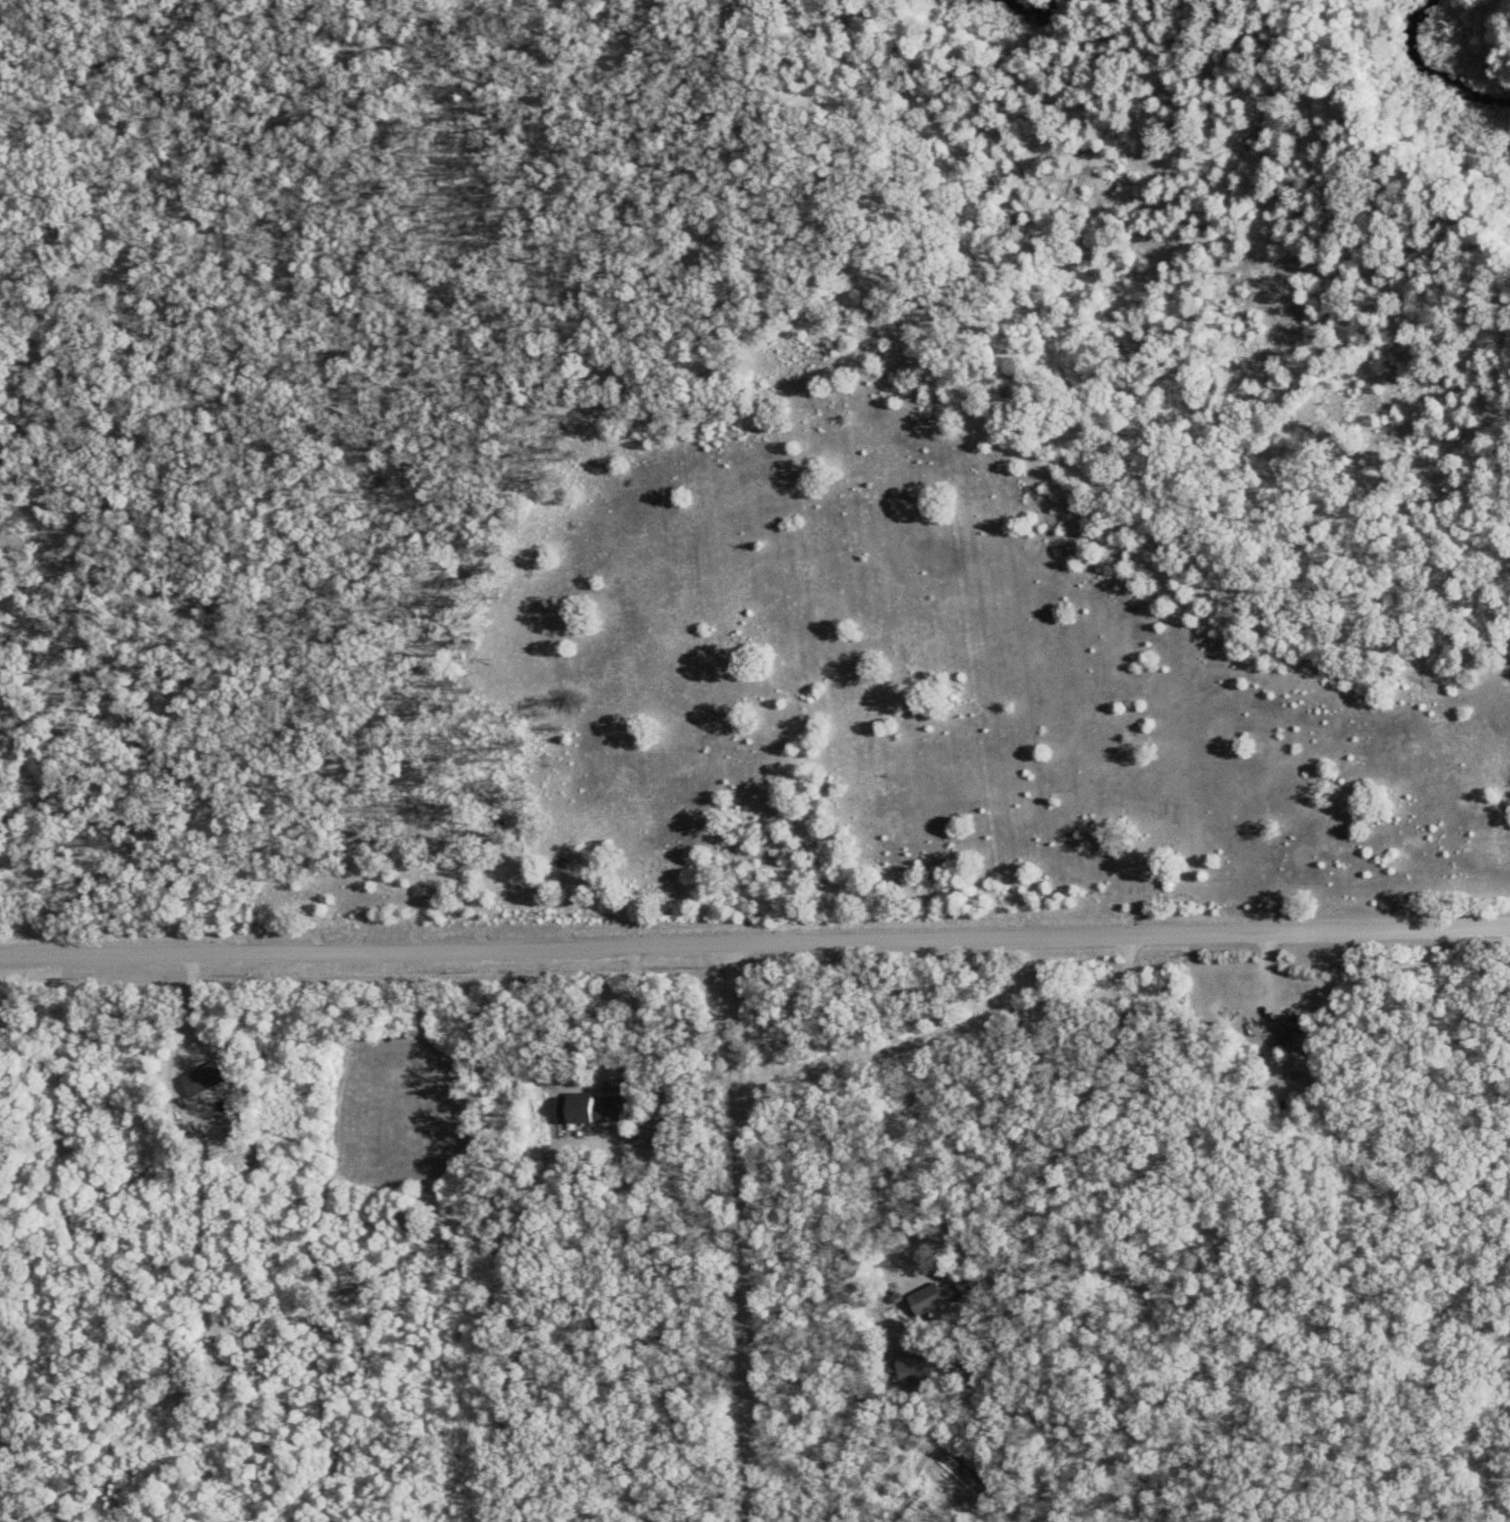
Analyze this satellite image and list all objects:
park: (743, 20)
road: (755, 941)
road: (629, 1019)
building: (1296, 1033)
building: (203, 1079)
road: (183, 1089)
road: (1077, 1105)
building: (588, 1109)
road: (730, 1232)
building: (934, 1297)
building: (922, 1365)

